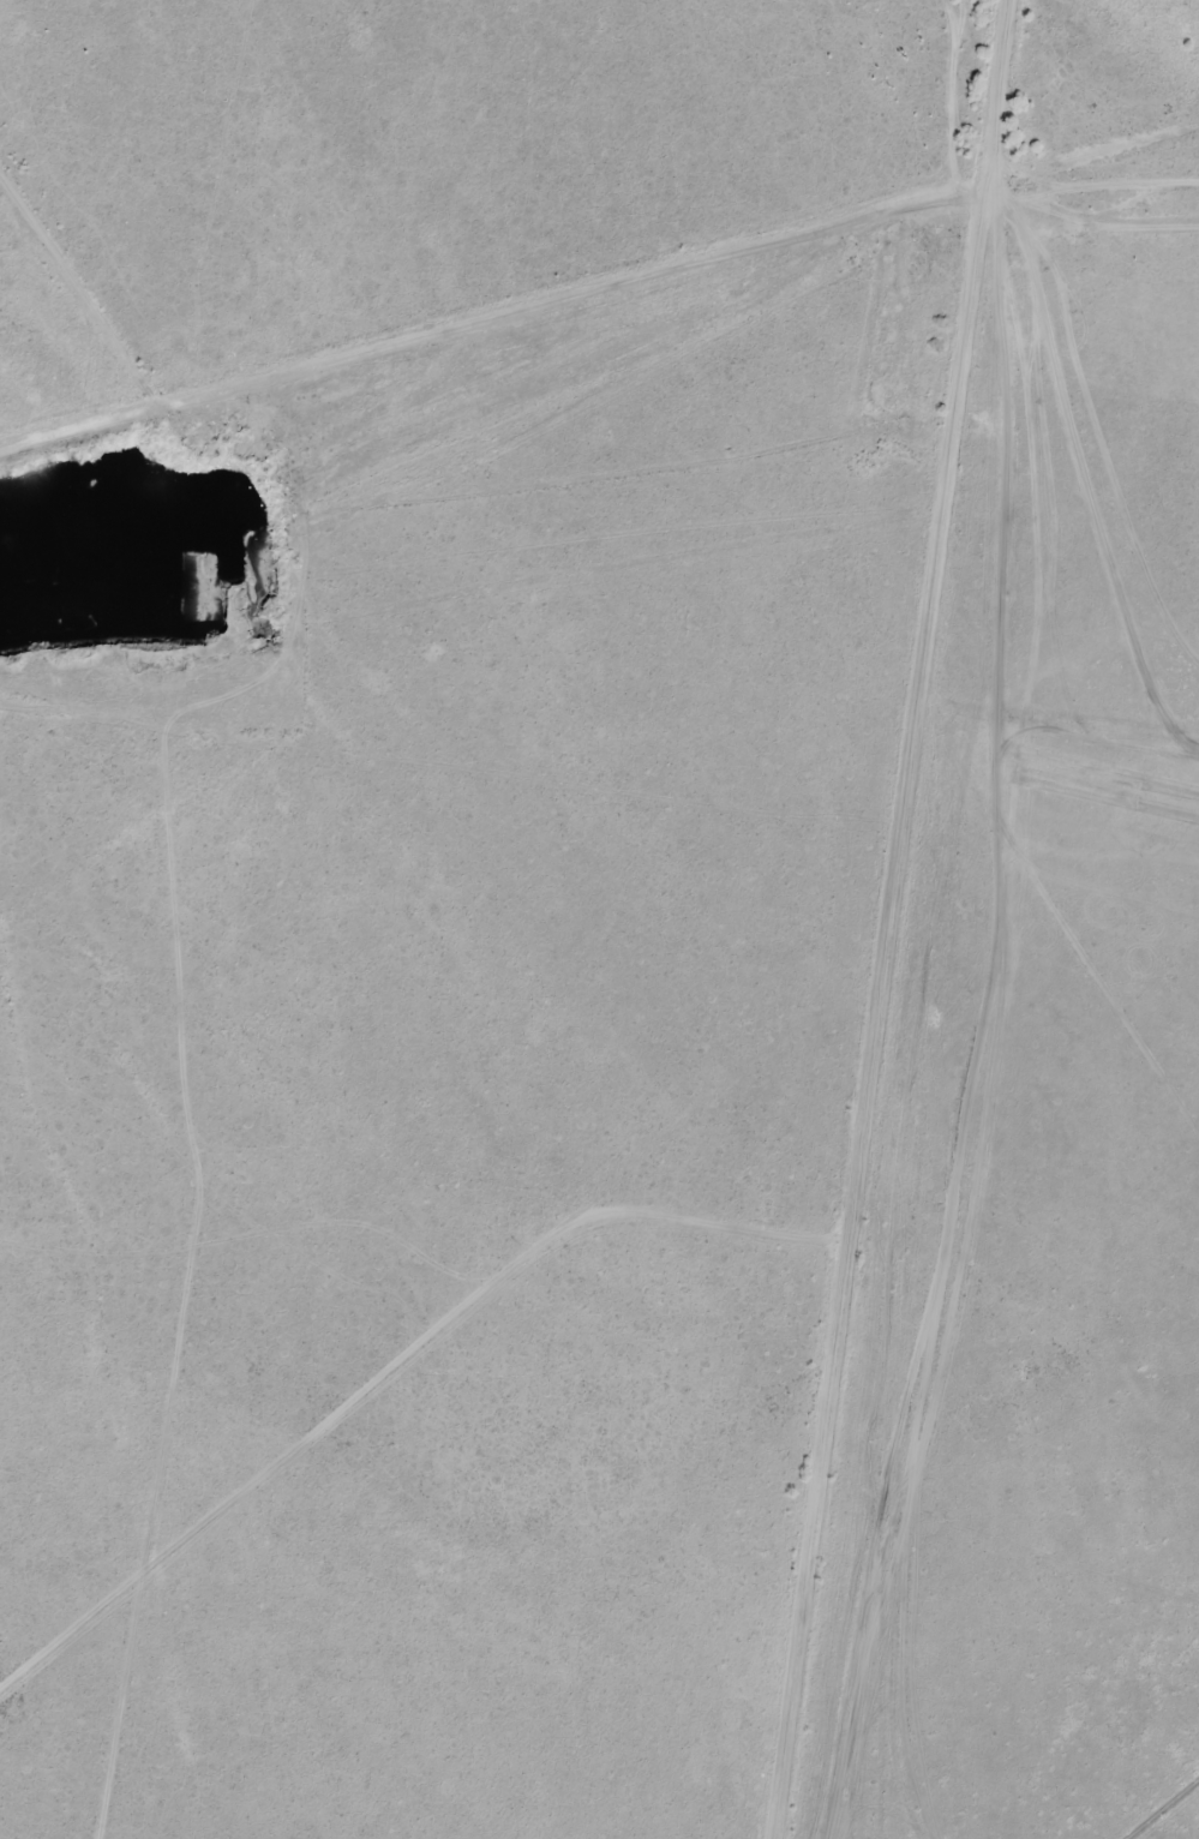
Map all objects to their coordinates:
road: (1095, 178)

